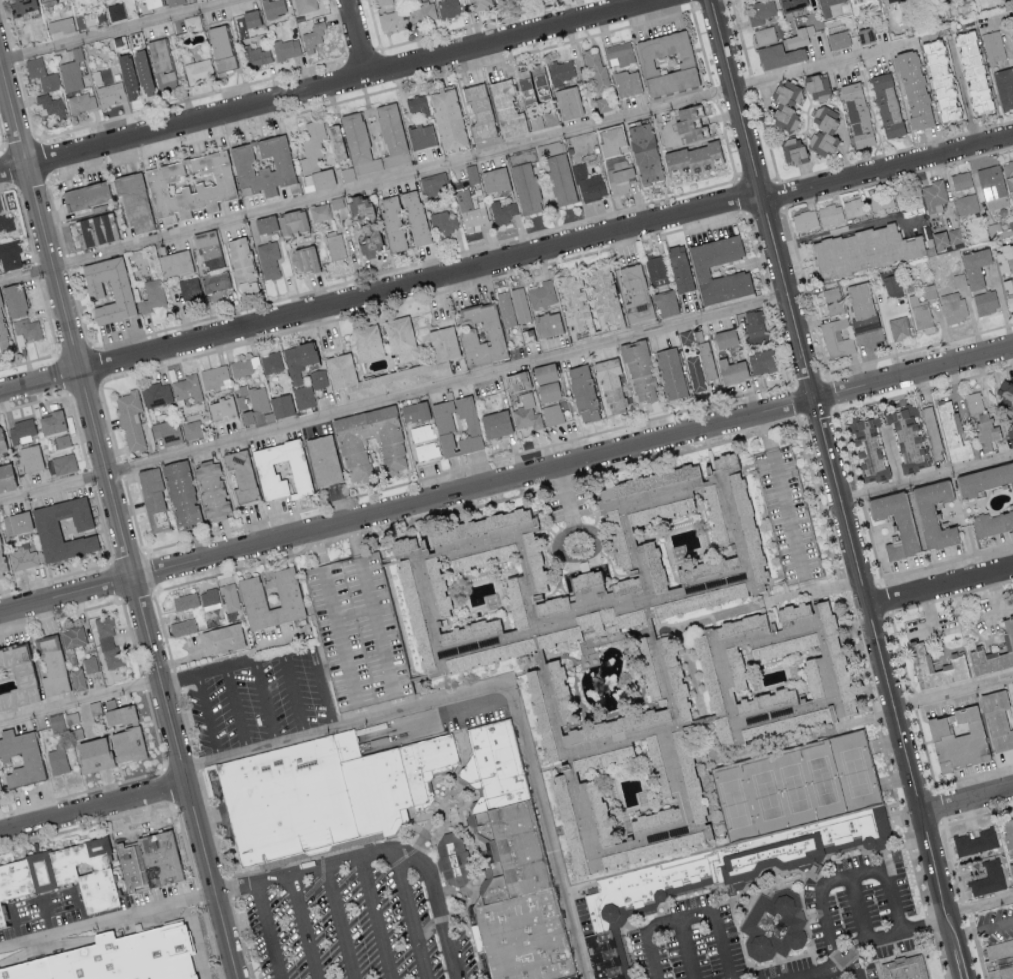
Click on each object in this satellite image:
building: (499, 0)
building: (888, 0)
building: (45, 2)
building: (174, 2)
building: (383, 2)
building: (151, 3)
building: (481, 4)
building: (791, 4)
building: (862, 5)
building: (305, 6)
building: (826, 7)
building: (21, 8)
building: (272, 8)
building: (448, 8)
building: (116, 11)
building: (759, 11)
building: (422, 12)
building: (250, 18)
building: (85, 20)
building: (392, 20)
building: (191, 23)
building: (60, 25)
road: (115, 30)
building: (1012, 30)
building: (764, 35)
building: (866, 35)
building: (313, 36)
road: (359, 38)
building: (796, 39)
building: (837, 40)
building: (993, 47)
building: (219, 48)
building: (286, 48)
building: (619, 53)
building: (257, 55)
building: (778, 56)
building: (665, 63)
building: (160, 64)
building: (596, 69)
building: (198, 70)
building: (561, 71)
building: (141, 72)
building: (972, 72)
building: (42, 74)
building: (70, 75)
building: (940, 80)
building: (625, 83)
building: (119, 84)
building: (530, 84)
road: (330, 86)
building: (815, 86)
building: (1004, 87)
building: (913, 89)
road: (964, 91)
road: (738, 98)
building: (82, 102)
building: (568, 102)
building: (784, 104)
building: (52, 105)
building: (886, 105)
building: (419, 108)
building: (505, 109)
building: (479, 112)
building: (856, 115)
building: (447, 118)
building: (550, 118)
building: (536, 121)
building: (688, 123)
building: (822, 131)
building: (615, 133)
building: (391, 135)
building: (419, 136)
building: (335, 142)
building: (792, 150)
building: (643, 153)
building: (314, 156)
building: (690, 157)
road: (452, 162)
road: (887, 164)
building: (261, 166)
building: (557, 171)
building: (1008, 173)
building: (471, 174)
building: (618, 174)
building: (494, 180)
building: (960, 180)
building: (433, 184)
building: (588, 184)
building: (188, 185)
building: (992, 187)
building: (525, 188)
building: (87, 195)
building: (933, 196)
building: (133, 201)
building: (881, 202)
building: (967, 204)
building: (858, 206)
building: (359, 208)
building: (471, 211)
building: (502, 211)
building: (319, 212)
building: (830, 214)
building: (414, 217)
building: (804, 220)
building: (6, 222)
building: (291, 222)
building: (391, 223)
building: (442, 223)
building: (265, 224)
road: (842, 228)
building: (94, 230)
building: (955, 235)
building: (939, 240)
building: (369, 244)
building: (335, 245)
building: (207, 249)
building: (863, 250)
building: (9, 255)
building: (268, 259)
building: (304, 260)
building: (174, 263)
building: (241, 266)
building: (975, 267)
building: (655, 268)
building: (699, 268)
building: (678, 269)
building: (216, 281)
building: (891, 285)
building: (119, 289)
building: (191, 290)
building: (634, 293)
building: (541, 294)
building: (602, 294)
building: (152, 295)
road: (380, 295)
building: (13, 300)
road: (787, 300)
building: (833, 300)
building: (573, 302)
building: (985, 302)
building: (665, 303)
building: (521, 305)
building: (861, 307)
building: (953, 307)
building: (507, 308)
building: (920, 312)
building: (547, 325)
building: (754, 327)
building: (899, 327)
building: (26, 329)
building: (493, 336)
building: (3, 337)
building: (685, 337)
building: (401, 339)
building: (724, 339)
building: (366, 343)
building: (298, 360)
building: (337, 360)
building: (705, 360)
building: (761, 362)
building: (271, 363)
building: (243, 366)
building: (730, 371)
building: (638, 372)
building: (694, 373)
building: (544, 374)
building: (670, 374)
building: (215, 377)
building: (319, 379)
building: (610, 387)
building: (187, 390)
building: (547, 392)
building: (582, 393)
building: (157, 394)
building: (304, 396)
building: (1006, 396)
road: (393, 399)
building: (974, 403)
building: (264, 405)
building: (222, 410)
building: (415, 412)
building: (527, 414)
building: (552, 414)
building: (130, 420)
building: (51, 423)
building: (494, 424)
building: (455, 427)
building: (193, 429)
building: (22, 431)
building: (985, 431)
building: (166, 432)
building: (420, 432)
building: (931, 433)
building: (952, 434)
building: (1010, 434)
building: (907, 438)
building: (63, 441)
building: (1, 445)
building: (425, 451)
building: (868, 451)
building: (352, 453)
building: (30, 458)
building: (322, 461)
building: (64, 463)
building: (281, 470)
building: (240, 476)
building: (5, 478)
road: (926, 478)
building: (984, 480)
road: (506, 483)
building: (210, 491)
building: (179, 495)
road: (783, 497)
building: (152, 500)
building: (788, 512)
building: (932, 513)
road: (116, 519)
building: (640, 519)
building: (16, 523)
building: (893, 523)
building: (992, 523)
building: (46, 529)
road: (596, 533)
building: (403, 545)
building: (482, 551)
building: (22, 557)
building: (2, 563)
building: (359, 566)
building: (583, 566)
building: (651, 566)
building: (0, 576)
road: (939, 586)
building: (288, 593)
building: (230, 597)
building: (209, 599)
building: (185, 601)
building: (695, 601)
building: (512, 604)
building: (548, 606)
road: (928, 611)
road: (354, 612)
building: (791, 613)
building: (411, 615)
building: (615, 621)
building: (183, 627)
building: (73, 636)
building: (222, 640)
building: (108, 641)
road: (268, 644)
building: (781, 648)
road: (299, 650)
building: (994, 653)
building: (833, 655)
road: (269, 659)
building: (920, 661)
building: (90, 664)
building: (51, 667)
building: (733, 668)
building: (590, 678)
building: (15, 679)
building: (78, 679)
building: (809, 679)
building: (673, 680)
road: (324, 687)
road: (490, 690)
road: (126, 691)
building: (557, 691)
road: (888, 691)
road: (953, 693)
road: (295, 695)
road: (394, 695)
road: (265, 702)
road: (478, 708)
road: (236, 710)
building: (119, 715)
building: (810, 715)
building: (71, 717)
road: (208, 717)
building: (536, 717)
building: (996, 721)
building: (56, 722)
building: (614, 727)
road: (400, 729)
building: (719, 732)
building: (956, 741)
building: (126, 745)
building: (91, 755)
building: (20, 758)
building: (57, 760)
building: (652, 767)
building: (398, 784)
building: (0, 787)
building: (577, 801)
building: (294, 802)
road: (967, 802)
road: (93, 807)
building: (975, 841)
building: (1009, 842)
road: (385, 852)
building: (455, 858)
building: (147, 859)
building: (515, 867)
building: (63, 873)
road: (845, 877)
building: (989, 878)
building: (617, 891)
road: (81, 907)
road: (860, 908)
road: (980, 909)
road: (412, 914)
road: (48, 915)
building: (1, 917)
road: (688, 918)
parking lot: (360, 919)
road: (377, 919)
road: (107, 921)
road: (342, 923)
road: (16, 924)
building: (777, 924)
parking lot: (792, 924)
road: (303, 928)
road: (983, 930)
road: (271, 932)
road: (892, 934)
road: (686, 950)
building: (140, 955)
building: (999, 960)
road: (829, 967)
building: (31, 969)
building: (906, 969)

